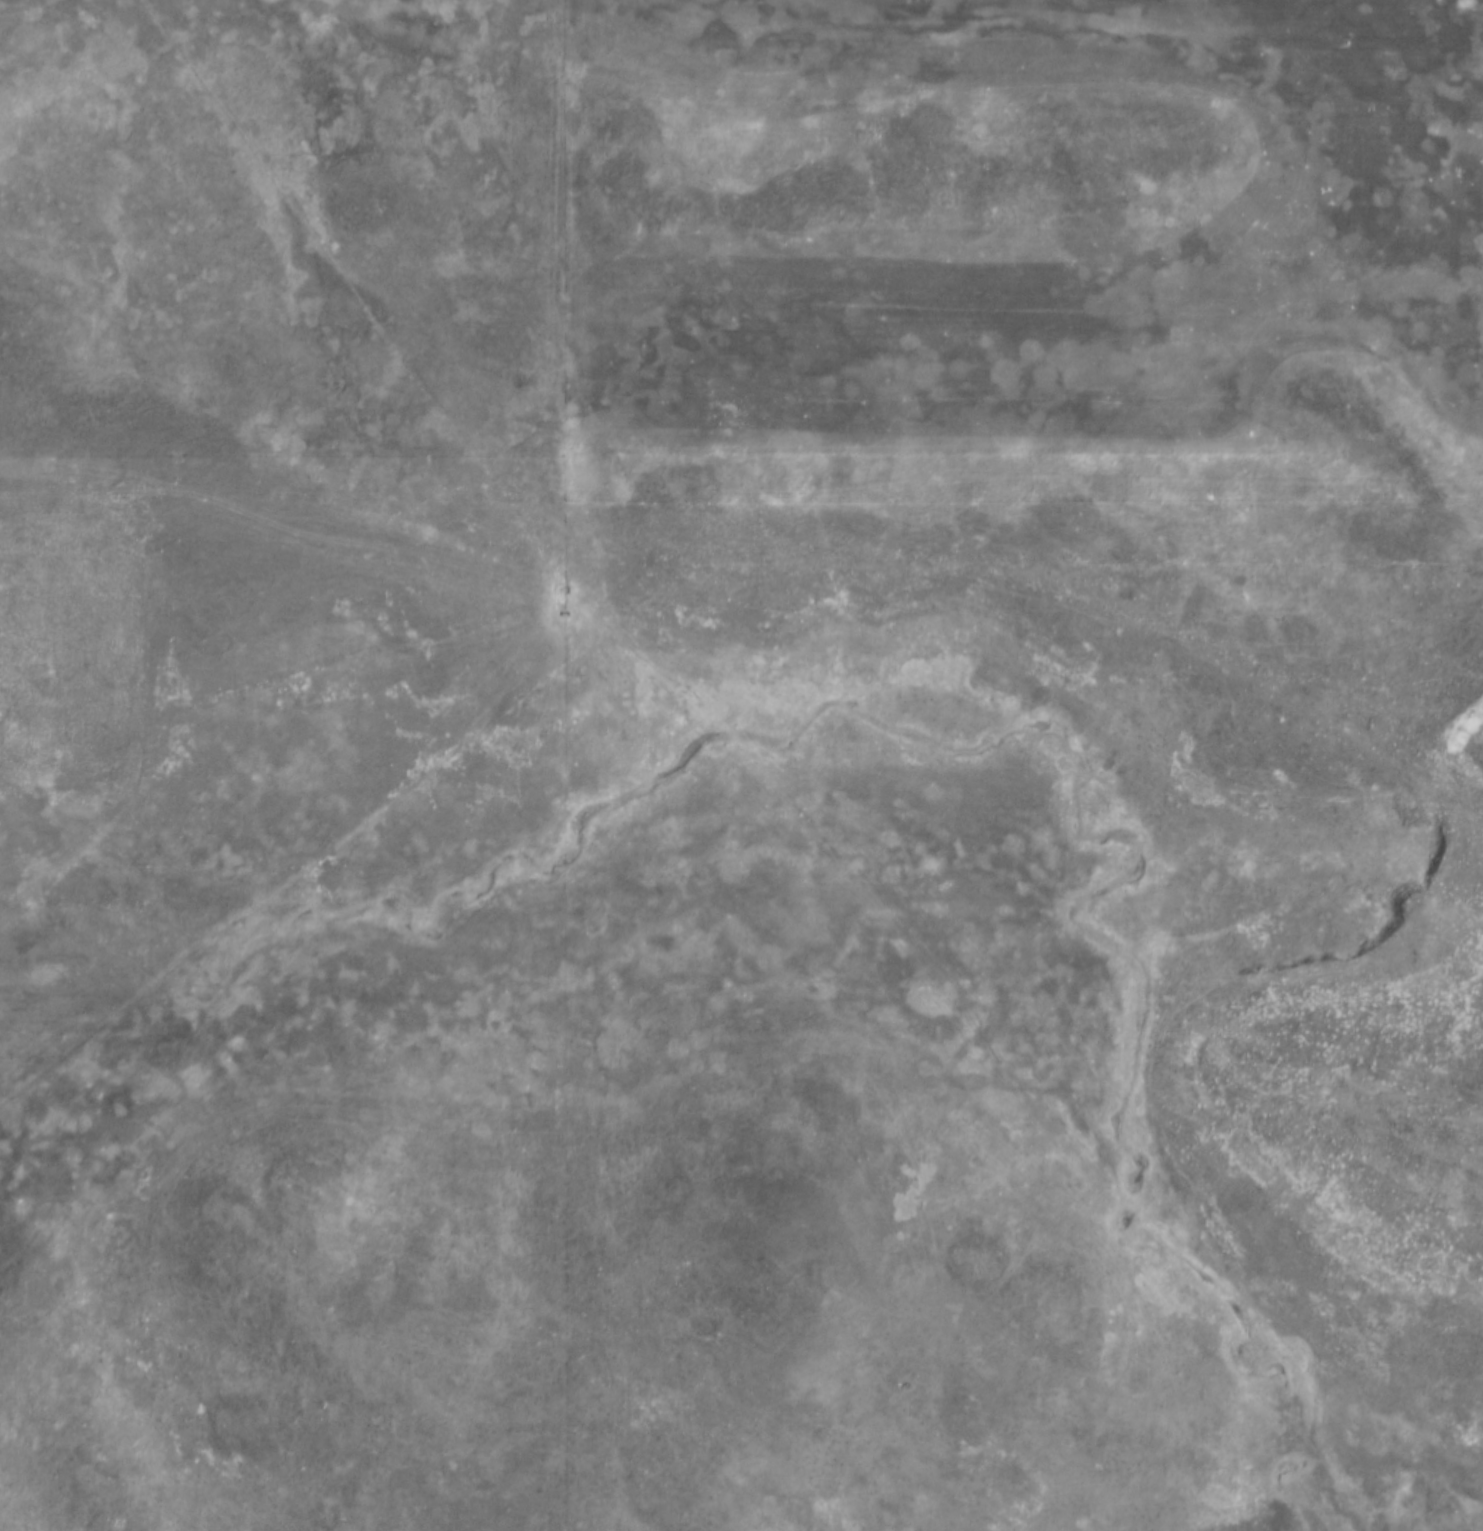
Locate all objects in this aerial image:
quarry: (1460, 731)
quarry: (1482, 977)

